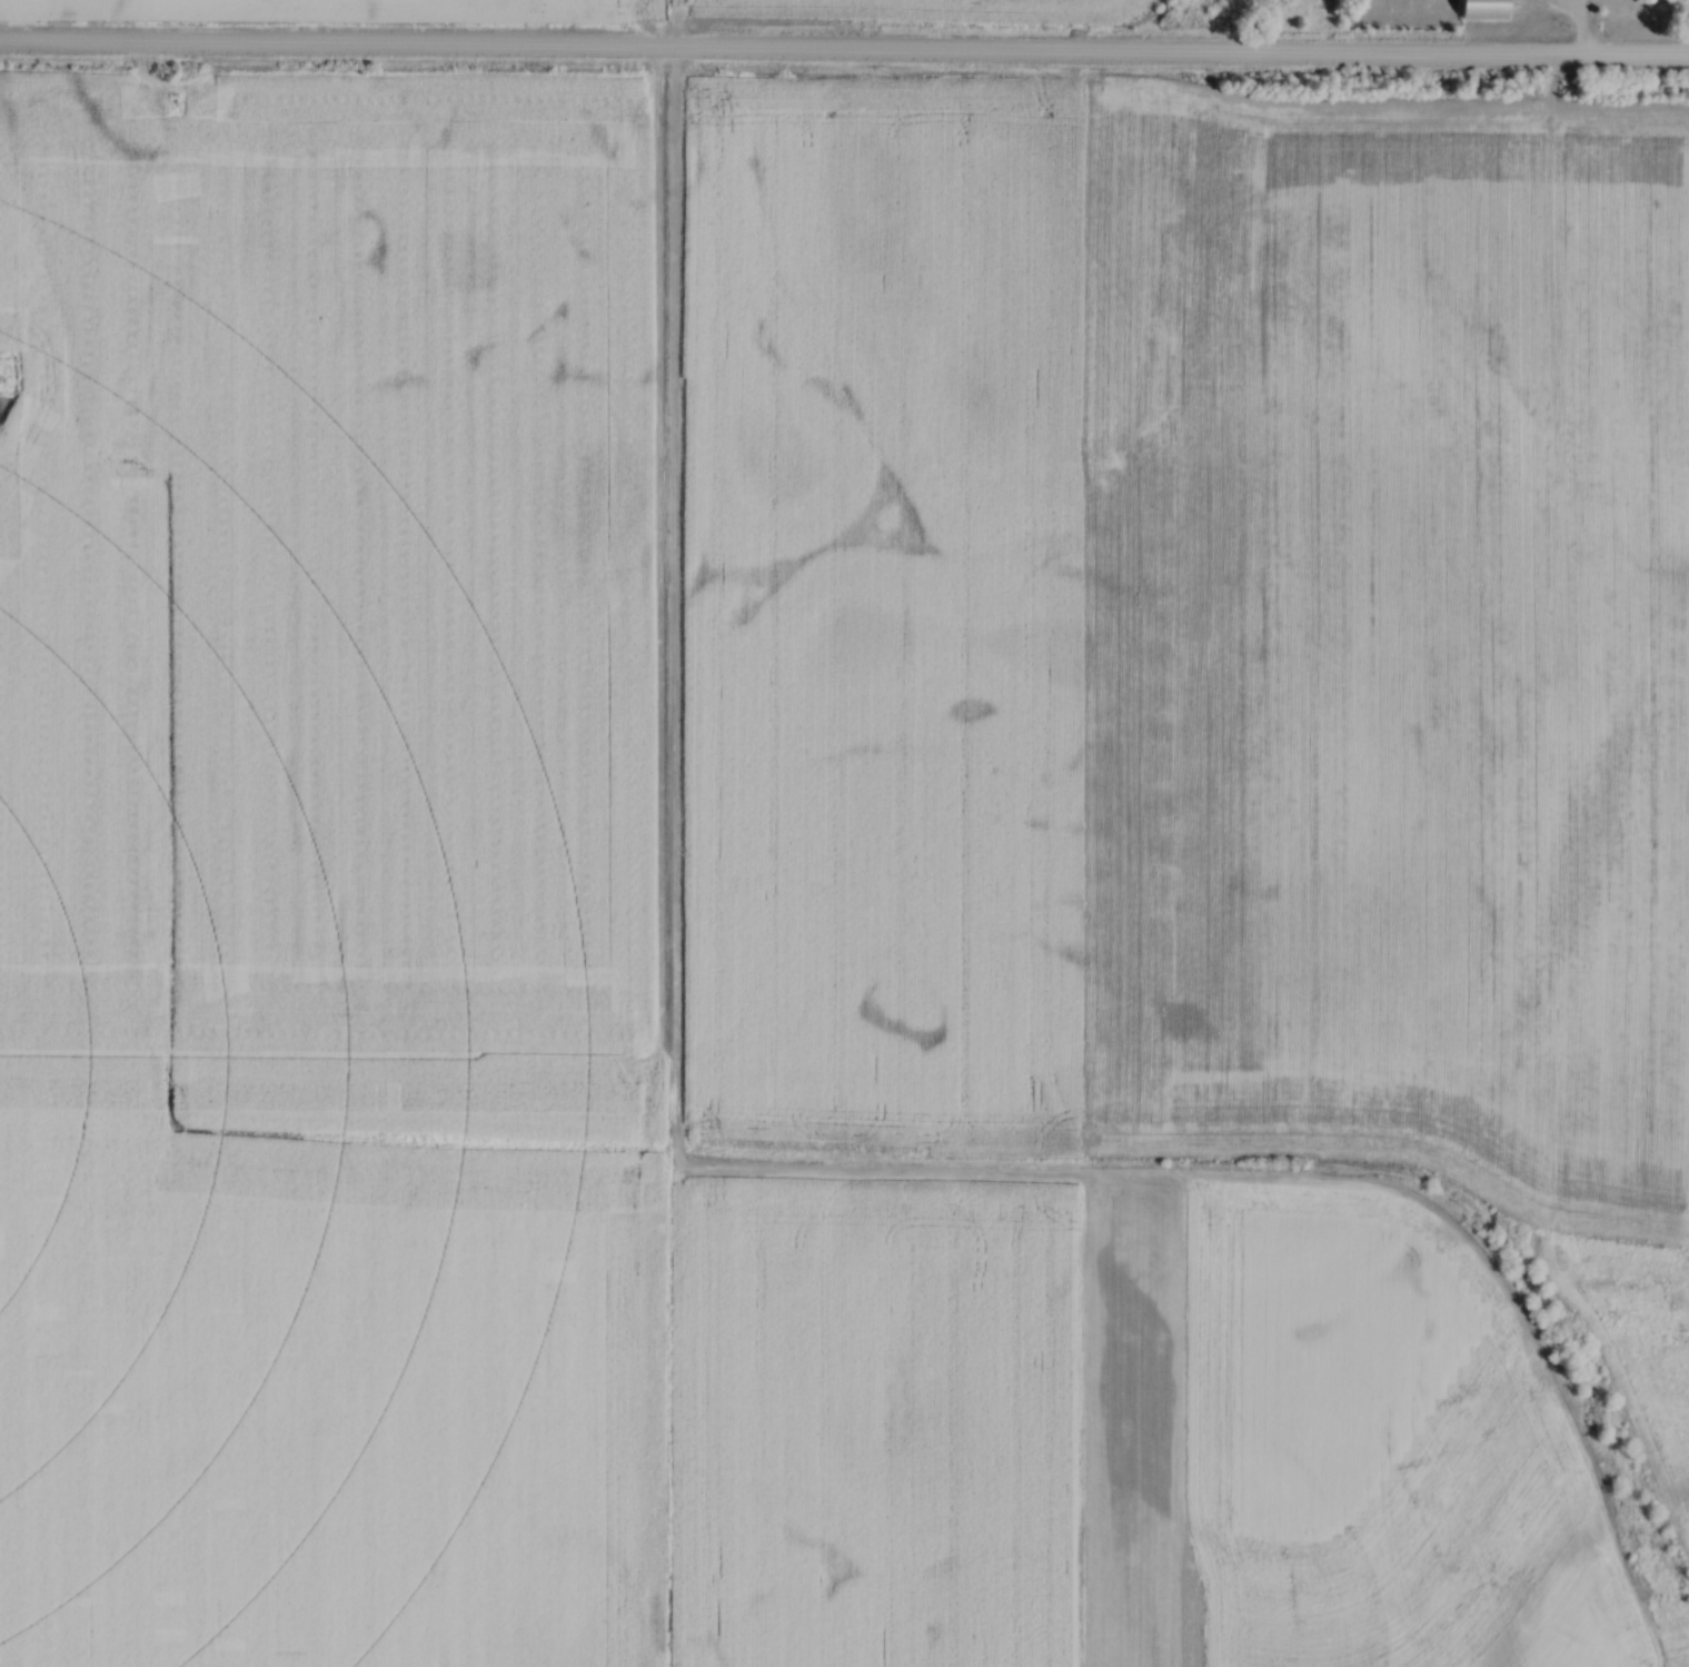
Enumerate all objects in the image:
building: (1489, 10)
road: (1581, 10)
road: (1591, 38)
road: (844, 52)

